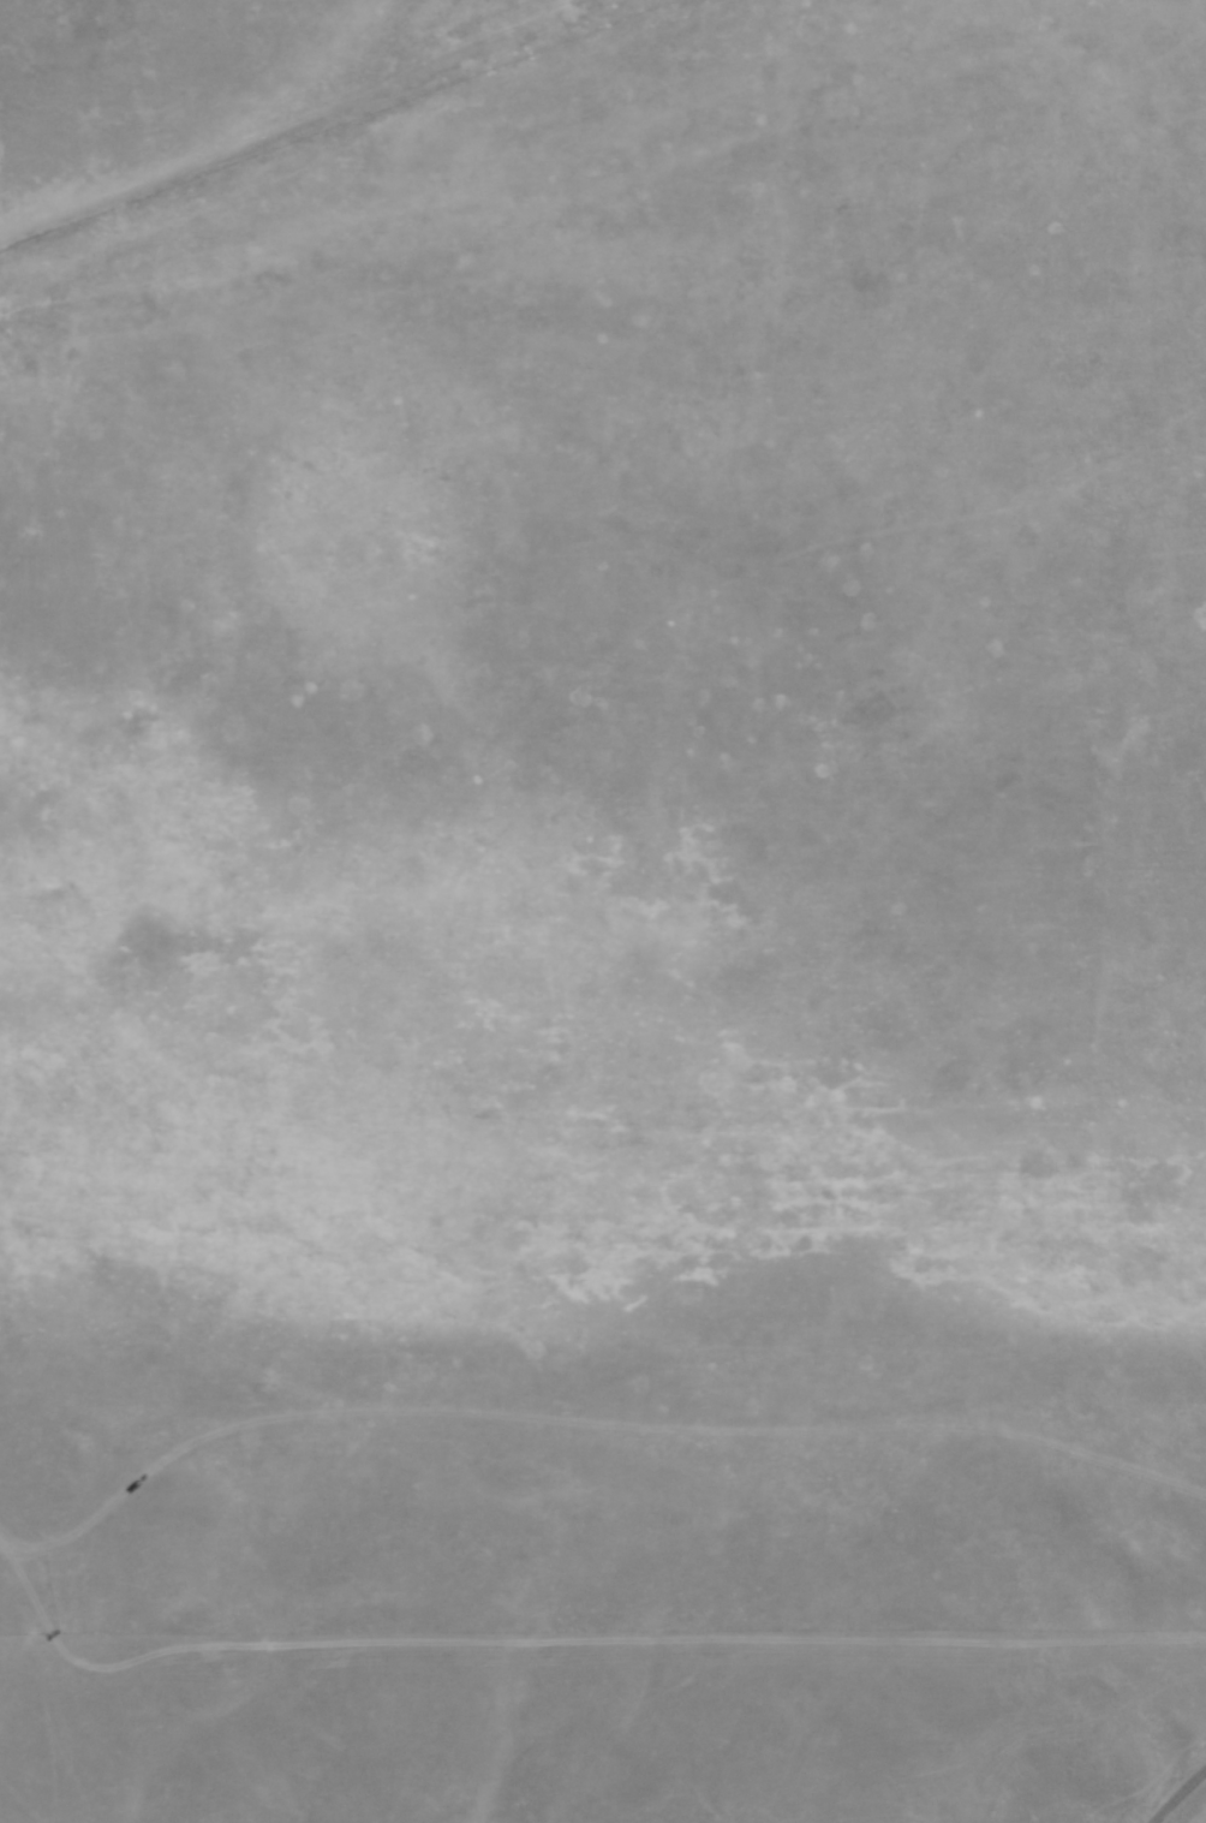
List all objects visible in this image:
road: (1176, 1794)

